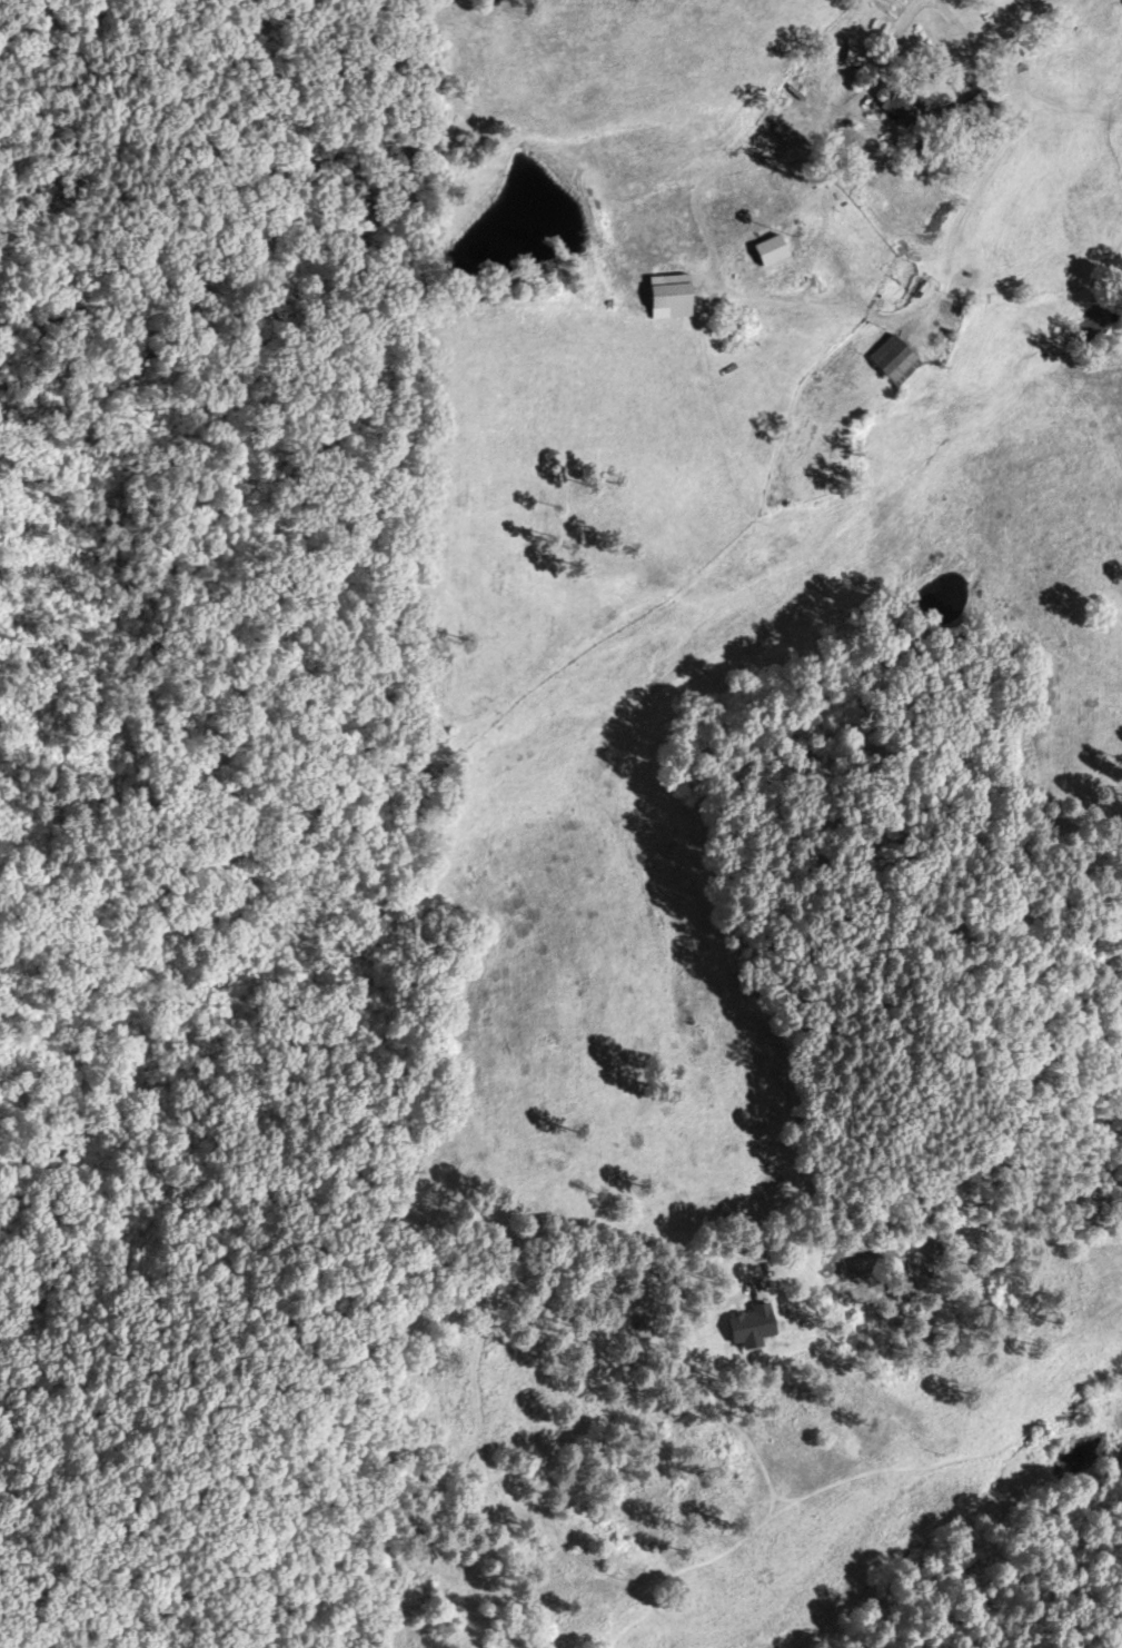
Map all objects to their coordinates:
road: (1014, 75)
building: (911, 103)
building: (775, 248)
building: (674, 298)
building: (901, 358)
road: (520, 1302)
building: (767, 1316)

